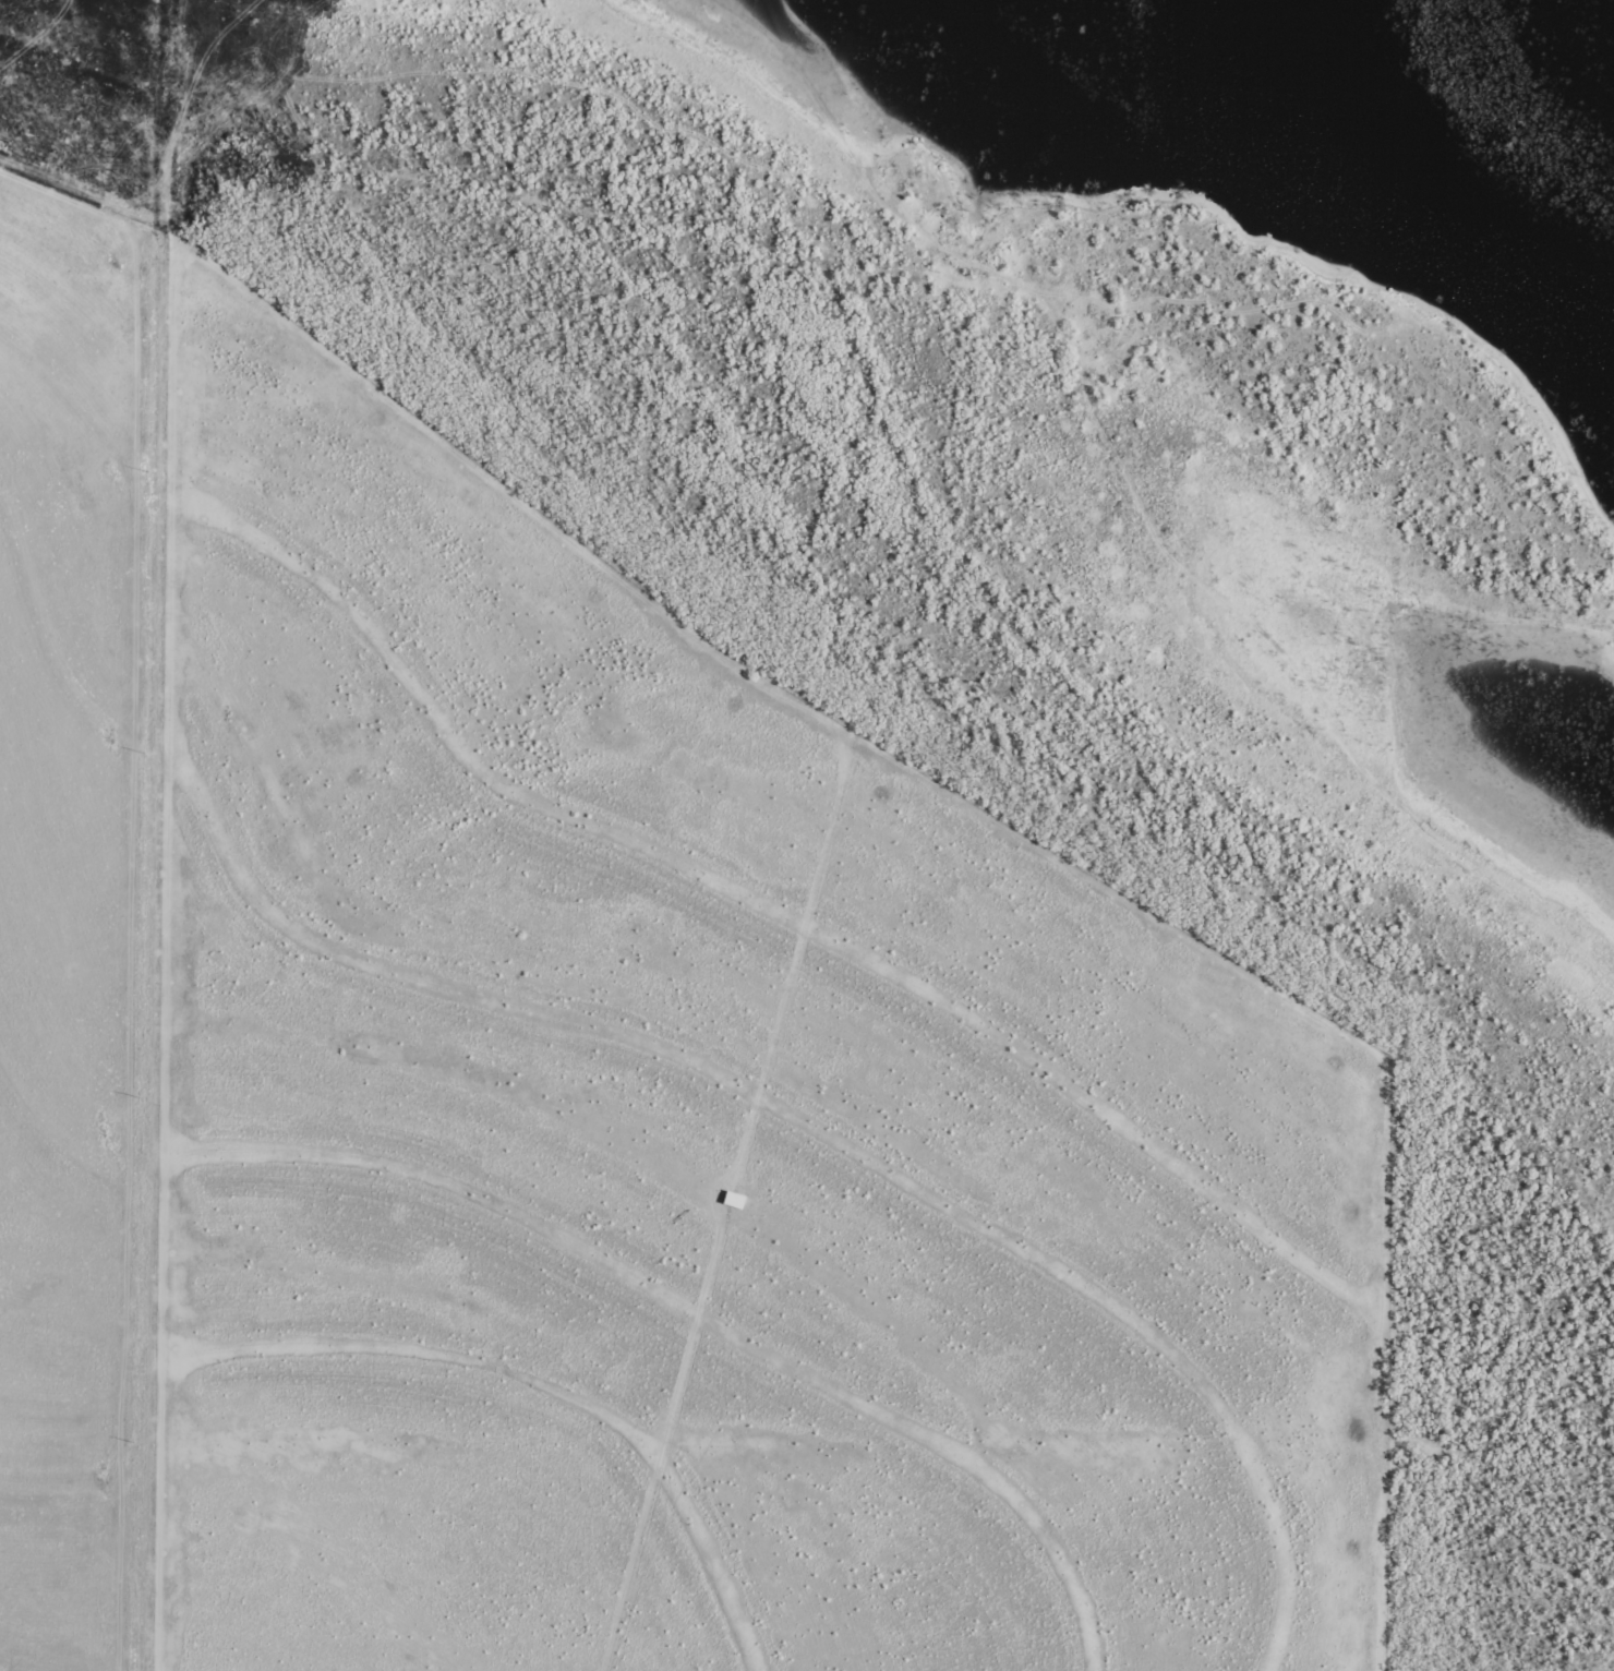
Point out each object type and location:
river: (1380, 228)
road: (167, 970)

